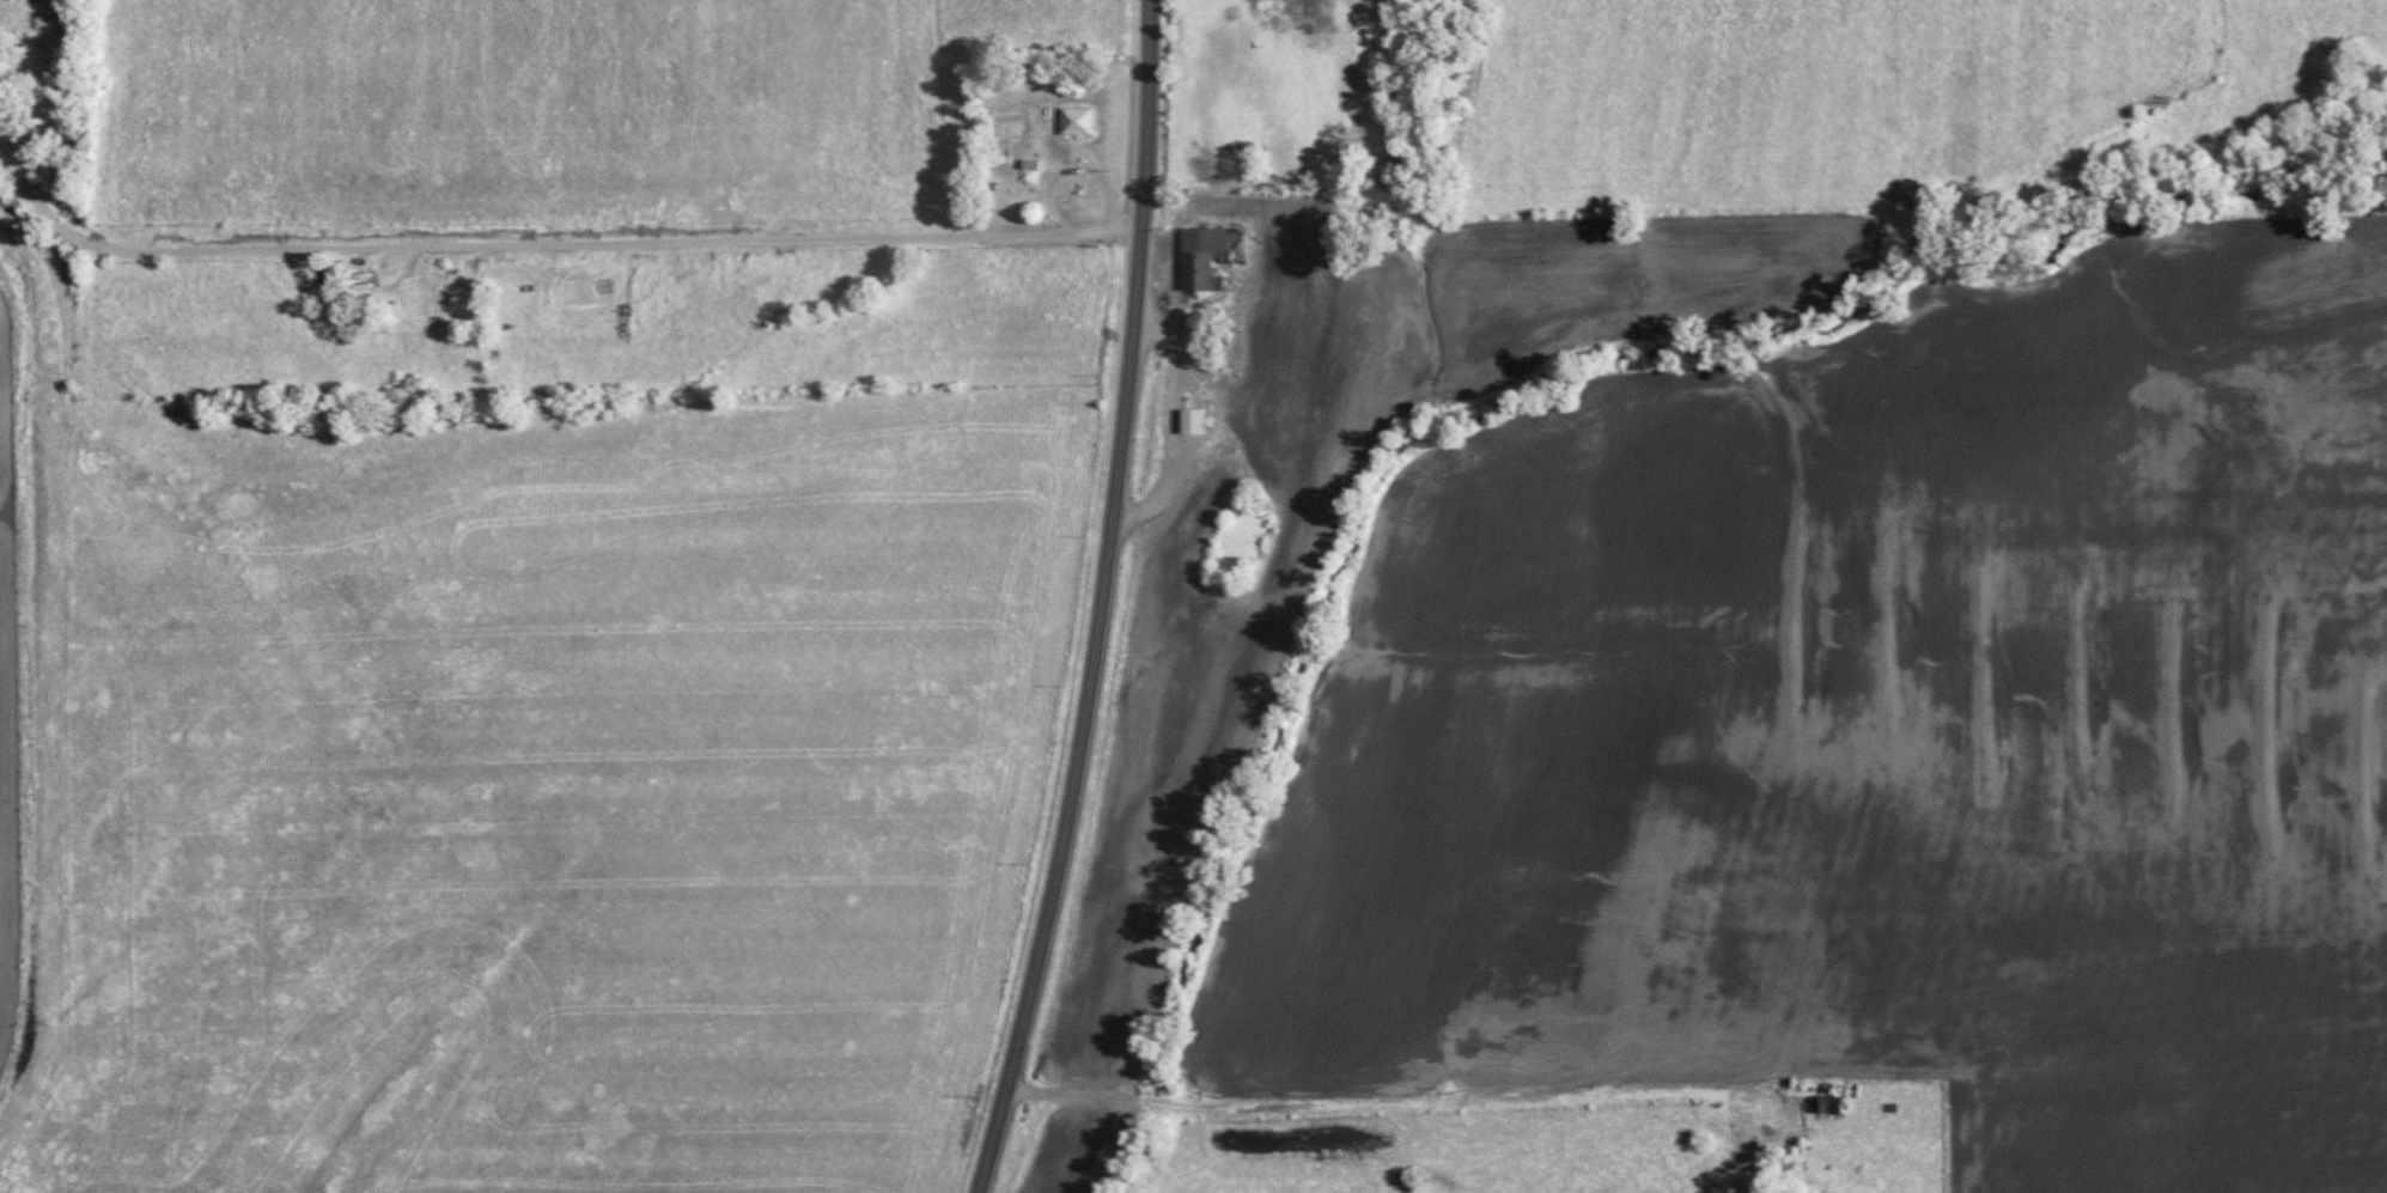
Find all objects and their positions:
building: (1077, 121)
road: (547, 239)
building: (1207, 255)
road: (1175, 391)
building: (1192, 422)
road: (1101, 602)
crop: (6, 689)
crop: (1861, 698)
road: (1431, 1097)
building: (1826, 1104)
crop: (2167, 1108)

